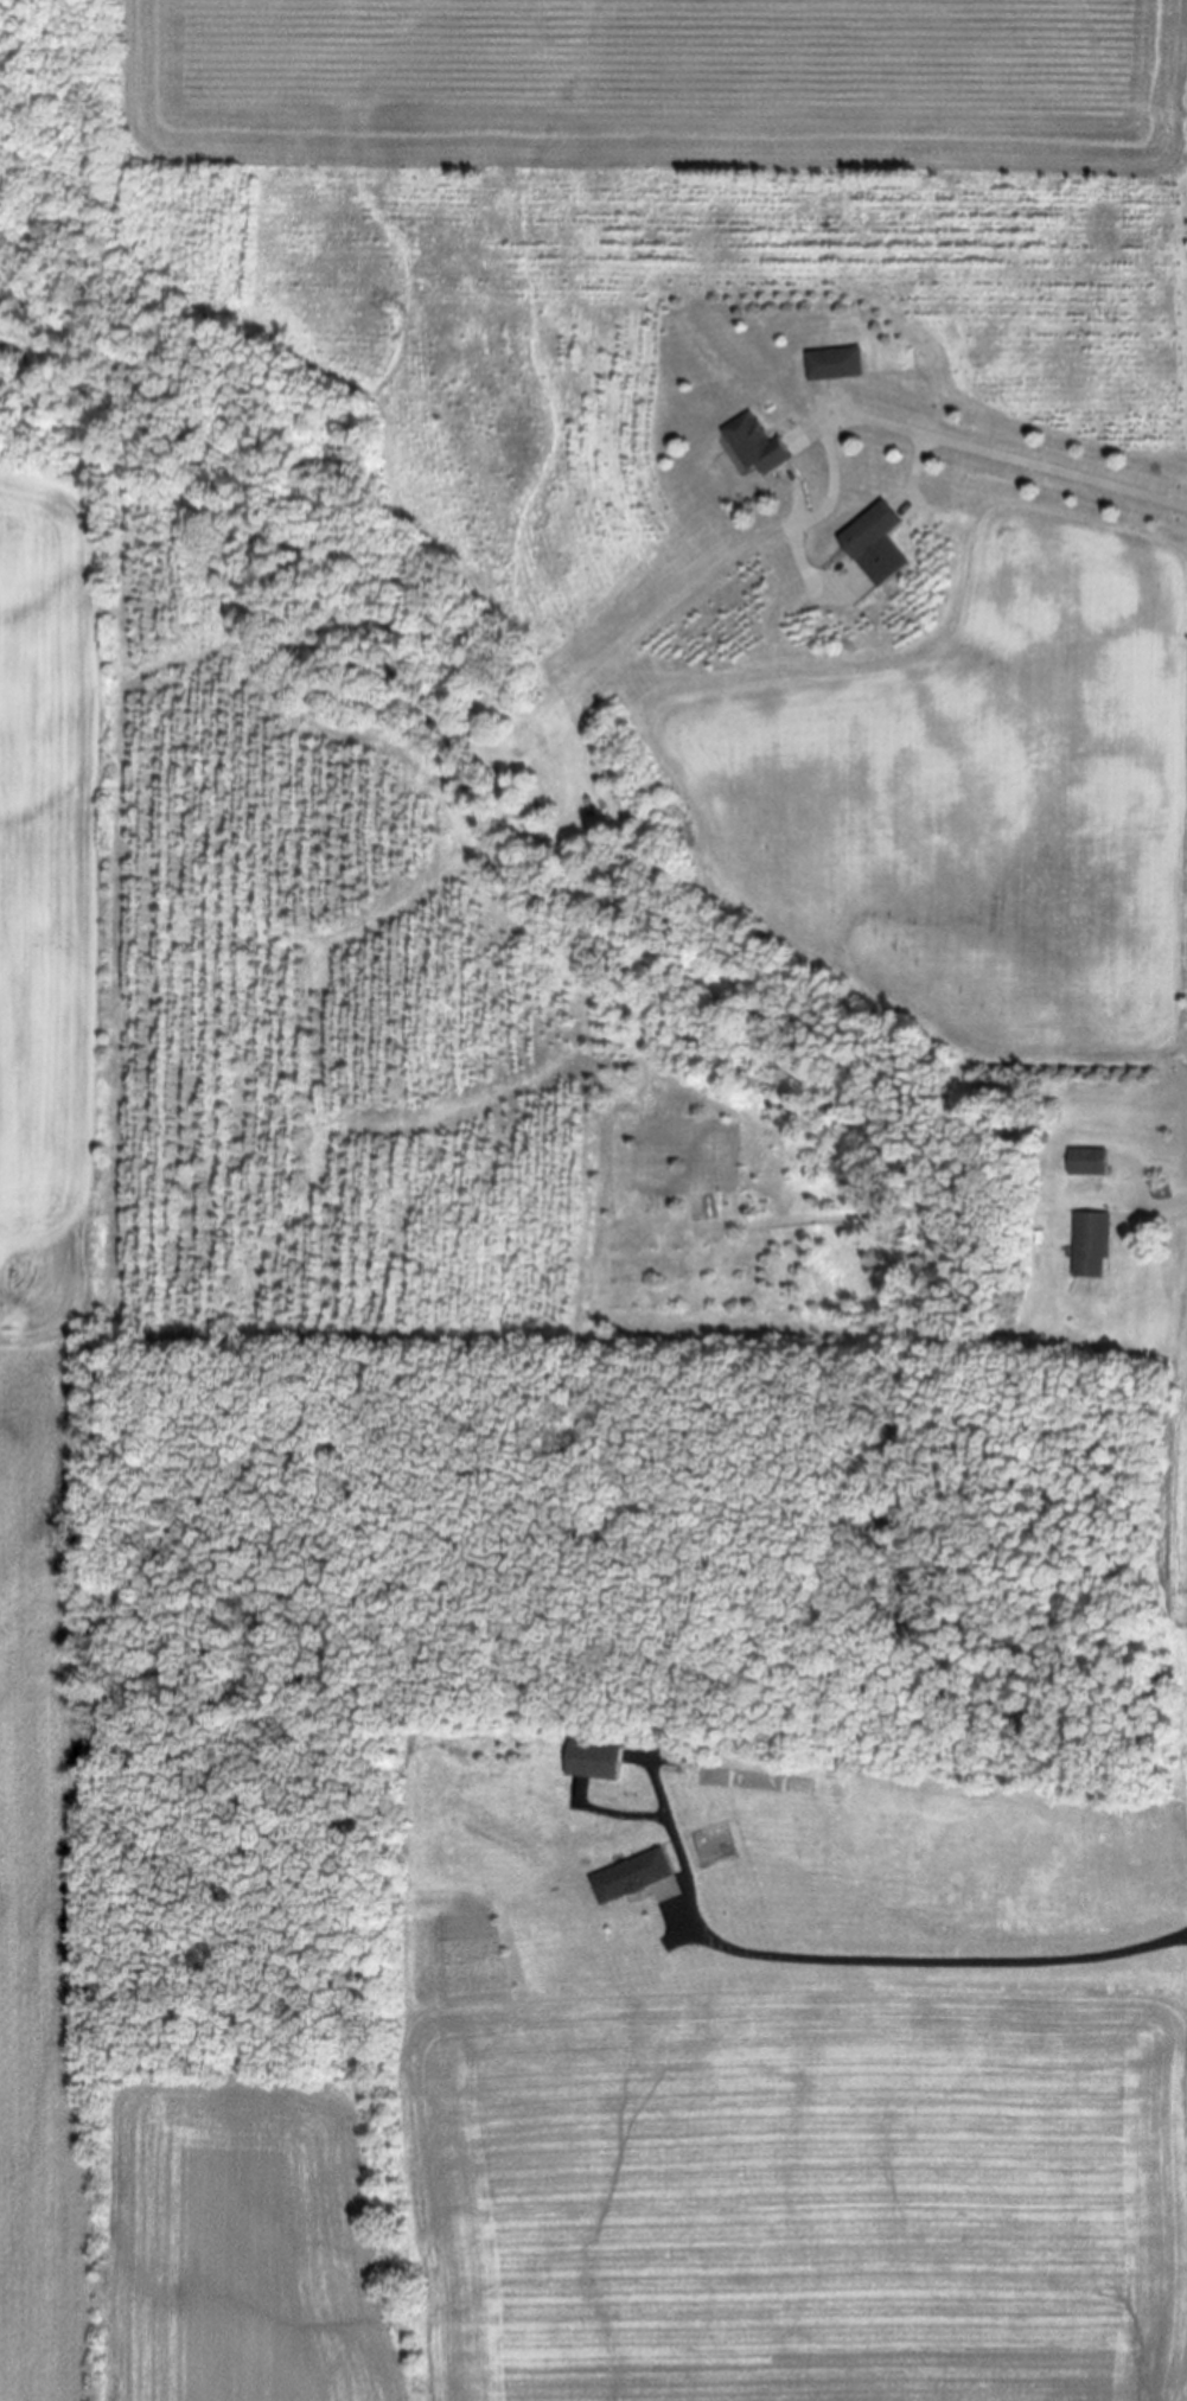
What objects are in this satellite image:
building: (830, 365)
road: (918, 436)
building: (752, 445)
building: (864, 531)
building: (1086, 1163)
road: (1166, 1208)
building: (1092, 1246)
building: (591, 1761)
building: (630, 1878)
road: (854, 1963)

